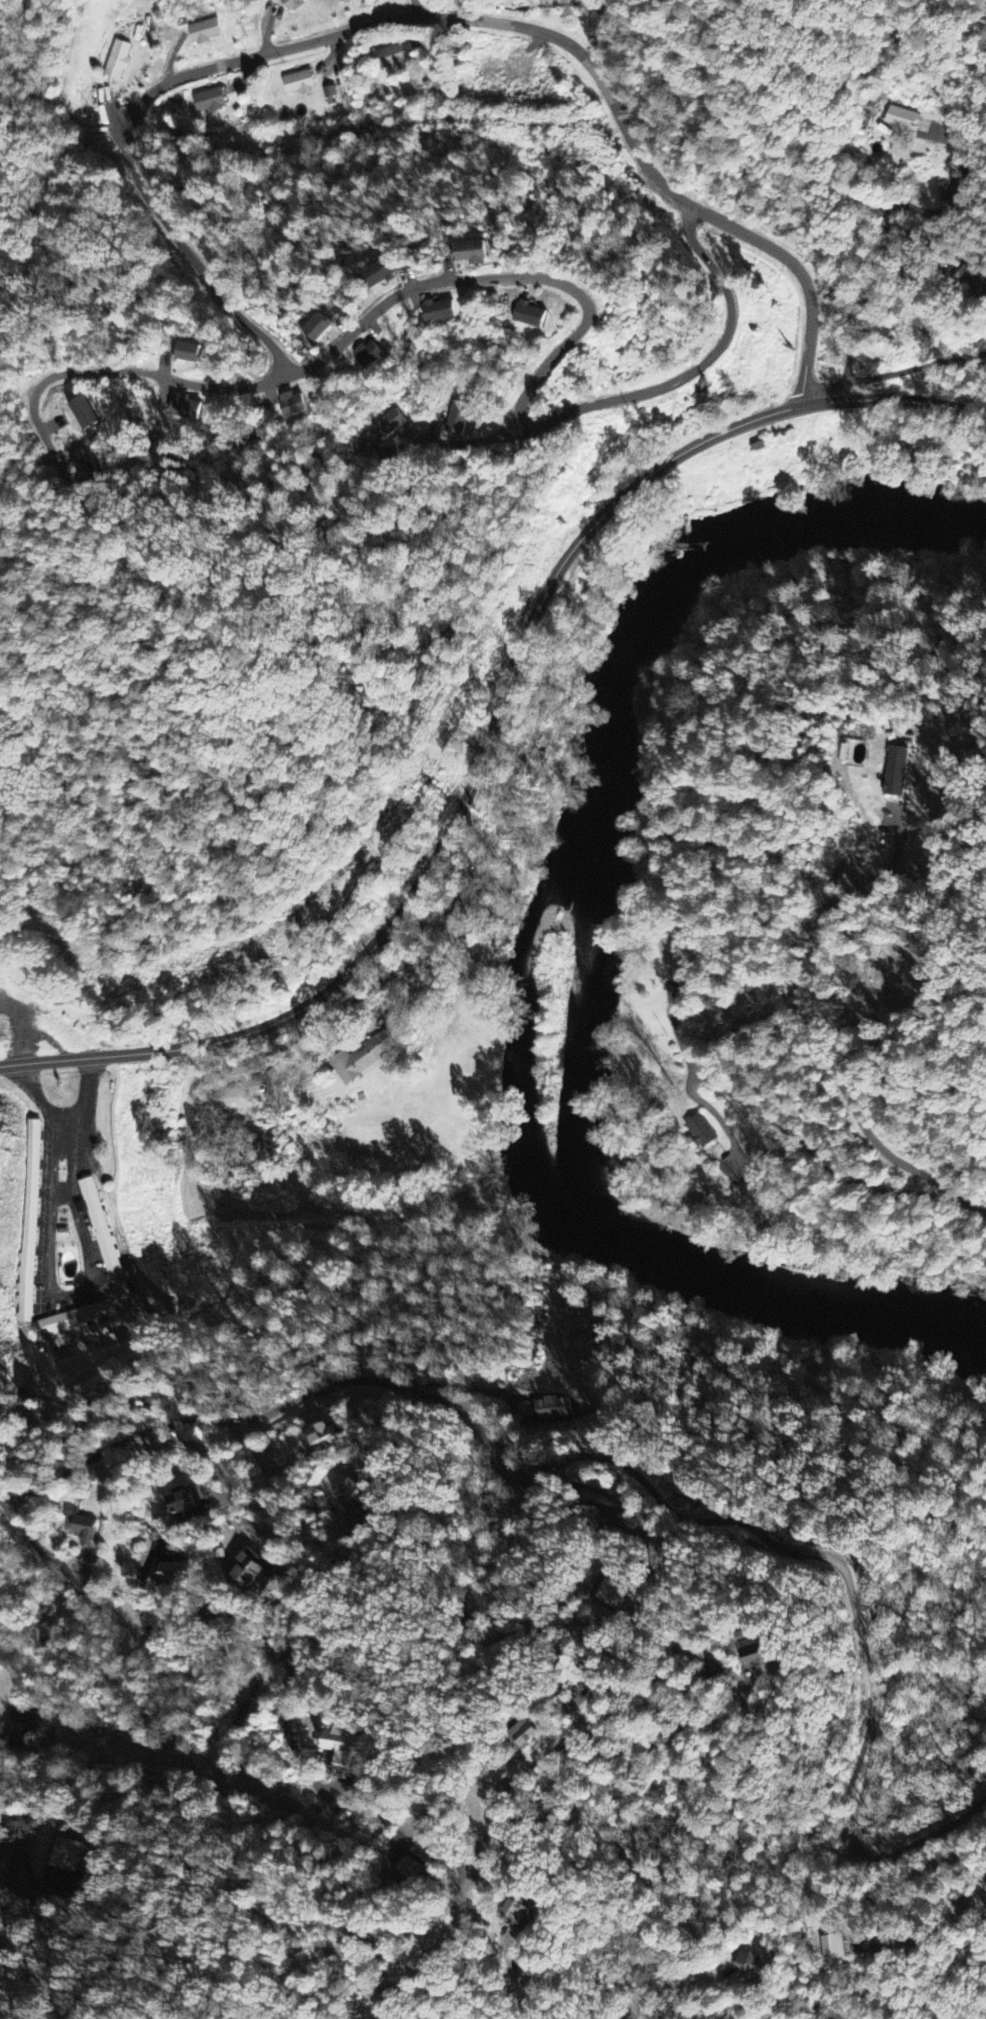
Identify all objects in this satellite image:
building: (526, 0)
building: (291, 4)
road: (417, 8)
road: (415, 17)
building: (204, 33)
building: (393, 58)
building: (116, 62)
building: (298, 84)
building: (330, 93)
building: (209, 102)
building: (901, 121)
road: (888, 232)
building: (475, 250)
building: (378, 276)
building: (972, 282)
building: (439, 312)
building: (531, 316)
road: (361, 324)
building: (317, 328)
building: (189, 354)
building: (369, 356)
road: (693, 372)
building: (294, 406)
building: (185, 409)
building: (83, 415)
building: (458, 419)
building: (389, 426)
building: (758, 446)
building: (84, 466)
river: (823, 515)
road: (521, 643)
building: (894, 771)
building: (45, 988)
parking lot: (38, 1007)
road: (23, 1030)
road: (47, 1033)
building: (363, 1057)
road: (87, 1058)
building: (273, 1090)
river: (582, 1097)
road: (64, 1115)
building: (698, 1134)
road: (828, 1166)
road: (62, 1191)
parking lot: (42, 1214)
building: (104, 1231)
parking lot: (96, 1255)
road: (70, 1293)
parking lot: (69, 1302)
building: (97, 1331)
building: (550, 1409)
building: (322, 1436)
road: (627, 1470)
building: (349, 1495)
road: (0, 1496)
building: (178, 1500)
building: (82, 1530)
building: (246, 1569)
building: (172, 1572)
building: (612, 1595)
road: (120, 1618)
building: (750, 1652)
road: (650, 1670)
building: (572, 1675)
building: (18, 1735)
building: (522, 1735)
building: (340, 1749)
road: (23, 1844)
road: (627, 1859)
building: (407, 1869)
building: (985, 1881)
road: (889, 1900)
building: (515, 1914)
building: (833, 1948)
building: (749, 1967)

